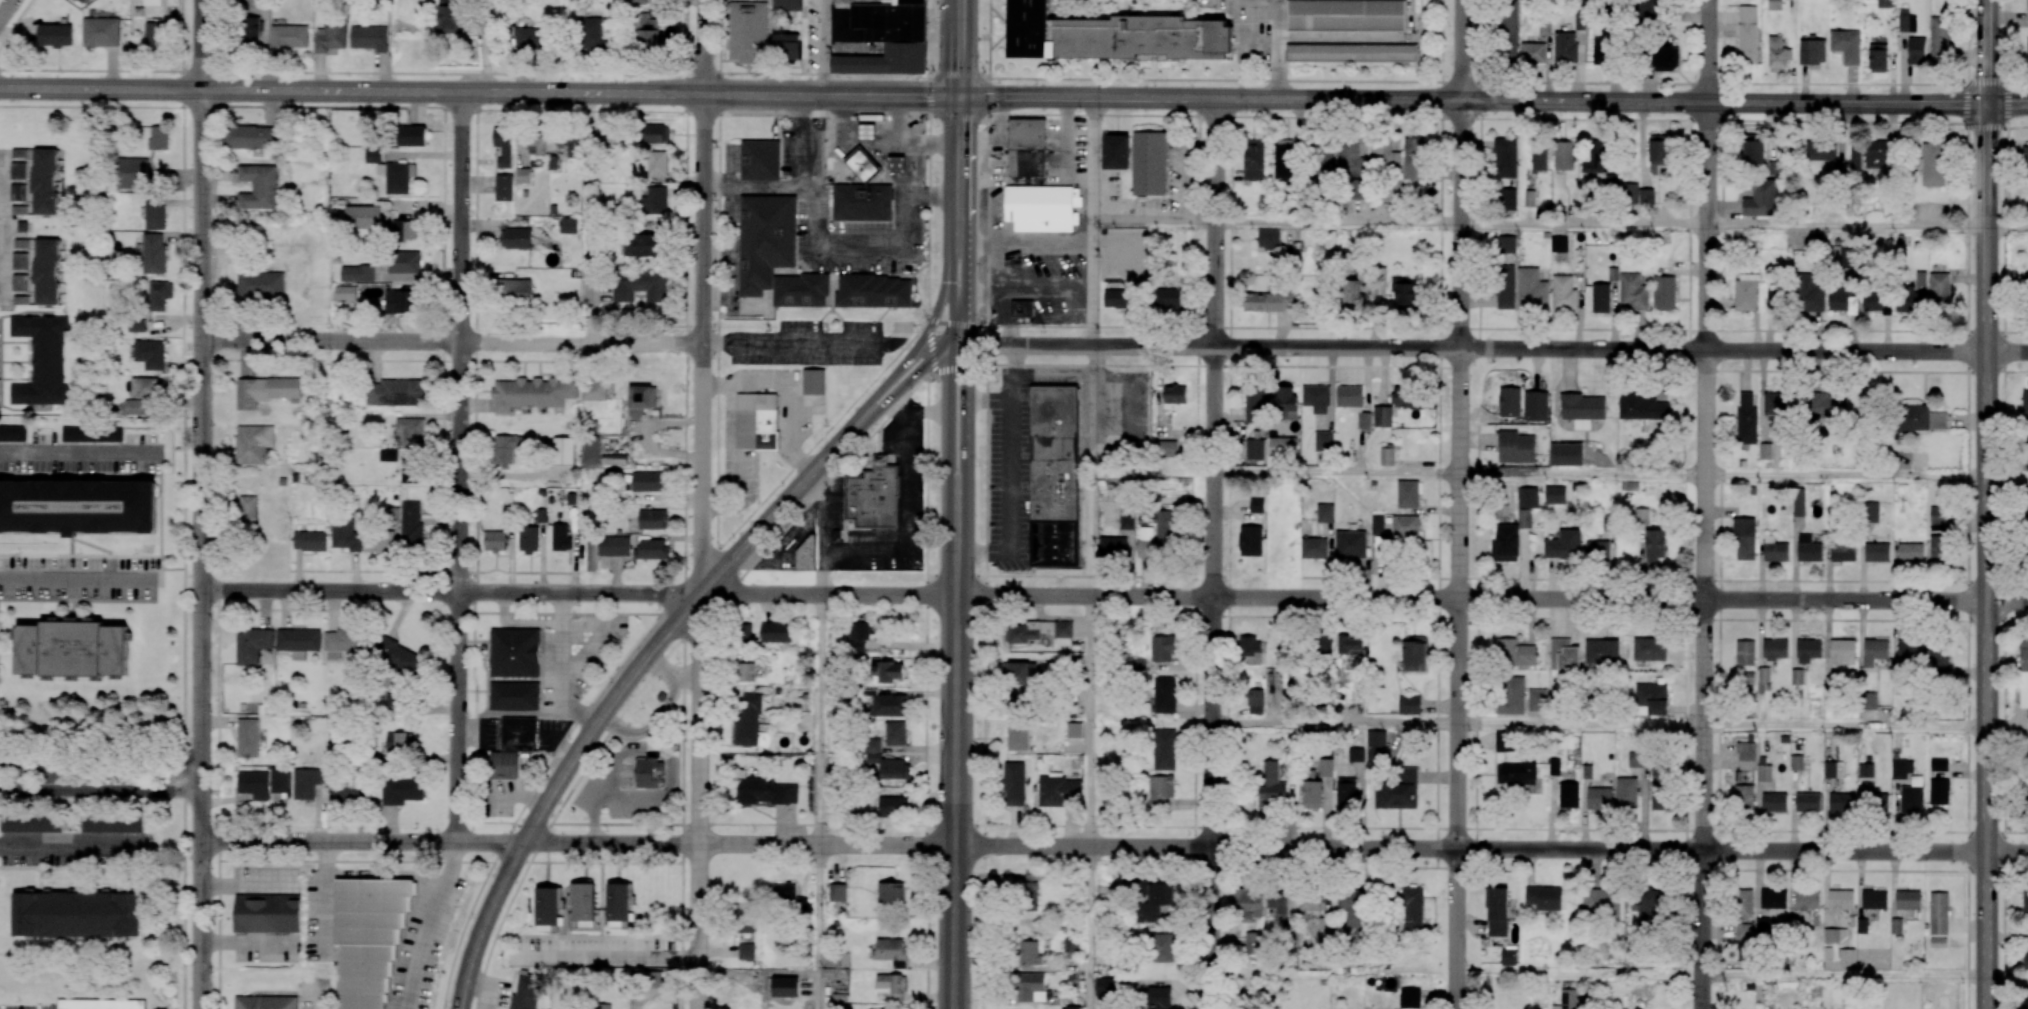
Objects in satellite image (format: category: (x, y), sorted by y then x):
building: (82, 1)
building: (638, 1)
building: (152, 2)
building: (1884, 3)
building: (787, 5)
building: (1775, 5)
building: (1649, 8)
road: (6, 9)
road: (1141, 9)
building: (2027, 11)
road: (1691, 14)
building: (1346, 15)
building: (449, 19)
building: (1906, 21)
building: (1579, 24)
building: (250, 30)
building: (101, 31)
building: (747, 31)
building: (154, 32)
building: (648, 32)
building: (590, 33)
building: (1507, 34)
building: (1747, 34)
building: (55, 35)
building: (1113, 35)
building: (288, 37)
building: (331, 37)
building: (369, 37)
building: (532, 37)
building: (888, 38)
building: (1941, 38)
road: (199, 44)
road: (704, 46)
building: (787, 46)
road: (825, 46)
building: (1846, 46)
road: (959, 47)
building: (1564, 47)
road: (1279, 49)
building: (2027, 49)
building: (1601, 50)
building: (1812, 50)
building: (1916, 50)
road: (1986, 51)
building: (1351, 52)
building: (1532, 53)
building: (1777, 55)
building: (1664, 58)
building: (1878, 58)
road: (1013, 77)
street lamp: (2011, 81)
street lamp: (1966, 82)
road: (99, 89)
road: (578, 92)
traffic signals: (959, 95)
road: (1472, 101)
traffic signals: (1987, 104)
road: (2007, 104)
road: (1724, 112)
road: (1013, 114)
street lamp: (1968, 129)
street lamp: (2005, 132)
building: (656, 133)
building: (411, 135)
building: (158, 137)
building: (252, 137)
road: (797, 142)
building: (503, 145)
building: (570, 145)
building: (1026, 147)
building: (1658, 147)
building: (1753, 151)
building: (1819, 151)
building: (1868, 151)
building: (19, 152)
building: (1116, 152)
building: (1384, 155)
building: (1563, 155)
building: (1596, 156)
building: (1505, 157)
building: (1414, 158)
road: (929, 159)
building: (1254, 159)
building: (1285, 159)
building: (1539, 159)
building: (759, 160)
building: (1350, 160)
building: (2025, 161)
building: (1321, 162)
building: (657, 163)
building: (1149, 163)
building: (862, 164)
building: (896, 164)
building: (1932, 164)
road: (959, 167)
building: (18, 170)
building: (392, 172)
building: (132, 173)
road: (1480, 174)
building: (523, 175)
building: (1610, 180)
building: (44, 181)
building: (258, 186)
building: (503, 187)
building: (1393, 188)
building: (18, 192)
building: (1628, 193)
building: (1646, 196)
building: (1529, 198)
building: (1505, 199)
building: (1760, 199)
building: (654, 201)
building: (862, 202)
building: (1039, 207)
building: (155, 214)
road: (1689, 216)
building: (363, 217)
road: (1156, 220)
road: (1097, 221)
road: (1461, 223)
building: (569, 225)
road: (1846, 226)
road: (2007, 228)
building: (403, 229)
building: (516, 238)
building: (1268, 238)
building: (1506, 244)
building: (642, 245)
road: (954, 249)
building: (153, 253)
building: (775, 253)
road: (829, 254)
building: (1845, 257)
building: (20, 260)
building: (404, 262)
road: (966, 265)
building: (46, 271)
building: (357, 273)
building: (1612, 274)
building: (1921, 278)
building: (2025, 281)
building: (20, 282)
building: (260, 284)
building: (639, 285)
building: (1505, 287)
building: (1532, 288)
building: (1939, 288)
building: (514, 289)
building: (874, 291)
building: (345, 292)
building: (1632, 292)
building: (1746, 292)
building: (1353, 293)
building: (1563, 293)
building: (1664, 293)
building: (1808, 293)
building: (159, 295)
building: (1405, 295)
building: (1167, 297)
building: (1838, 297)
building: (1119, 298)
building: (1600, 298)
building: (1776, 298)
building: (1908, 298)
road: (948, 300)
building: (399, 301)
building: (1268, 301)
building: (1877, 302)
building: (1853, 304)
road: (939, 305)
building: (1022, 308)
road: (966, 317)
road: (959, 318)
building: (136, 324)
road: (1476, 327)
road: (199, 339)
road: (450, 341)
traffic signals: (948, 341)
road: (957, 341)
traffic signals: (966, 341)
road: (789, 342)
road: (934, 342)
road: (701, 343)
road: (929, 345)
traffic signals: (922, 348)
road: (1496, 349)
road: (1721, 350)
building: (151, 354)
building: (42, 360)
road: (1867, 371)
building: (814, 381)
building: (144, 387)
building: (266, 390)
building: (594, 390)
building: (394, 392)
building: (531, 393)
building: (1175, 394)
building: (1407, 397)
building: (1316, 398)
building: (641, 400)
building: (1509, 401)
building: (2025, 401)
building: (1254, 403)
building: (1287, 403)
building: (1353, 403)
building: (1535, 405)
building: (1827, 405)
building: (135, 406)
road: (880, 406)
building: (1776, 406)
building: (1641, 407)
road: (865, 408)
building: (1582, 409)
road: (917, 410)
road: (965, 415)
road: (948, 416)
building: (1382, 416)
building: (1918, 418)
building: (1747, 419)
building: (756, 421)
road: (1439, 424)
building: (410, 431)
building: (13, 433)
building: (91, 433)
building: (1323, 441)
building: (253, 443)
building: (1282, 446)
building: (1516, 447)
building: (1165, 448)
building: (504, 449)
building: (1254, 449)
building: (563, 450)
building: (590, 451)
building: (1765, 451)
road: (77, 452)
building: (388, 454)
building: (1567, 454)
building: (1387, 455)
building: (2025, 457)
building: (613, 460)
road: (458, 466)
building: (410, 468)
road: (841, 468)
road: (1460, 473)
road: (1846, 475)
building: (1053, 476)
building: (648, 481)
building: (1408, 494)
building: (1555, 495)
building: (872, 497)
building: (1528, 497)
building: (1798, 502)
road: (985, 504)
road: (1459, 504)
road: (1705, 504)
road: (1968, 504)
road: (2003, 504)
building: (1256, 505)
building: (77, 506)
road: (825, 508)
building: (247, 509)
building: (2027, 511)
building: (1870, 512)
building: (1325, 513)
building: (393, 515)
building: (1939, 515)
building: (1524, 518)
building: (652, 519)
building: (1127, 521)
building: (1607, 523)
building: (1377, 525)
building: (411, 526)
building: (1405, 526)
building: (346, 535)
building: (1161, 536)
building: (560, 537)
building: (528, 539)
building: (1744, 539)
building: (309, 540)
road: (900, 540)
building: (1250, 540)
building: (379, 541)
building: (495, 541)
building: (1505, 543)
building: (1350, 544)
building: (1655, 544)
building: (613, 545)
building: (1563, 545)
building: (1112, 547)
building: (1380, 547)
building: (1313, 548)
building: (1938, 548)
building: (652, 549)
building: (1808, 549)
building: (1599, 550)
building: (1774, 550)
building: (1843, 551)
building: (806, 552)
building: (1876, 552)
building: (1910, 552)
road: (1213, 553)
road: (1987, 556)
road: (81, 576)
road: (450, 591)
road: (1363, 598)
road: (580, 625)
building: (1038, 630)
building: (744, 631)
building: (776, 632)
building: (859, 635)
road: (641, 636)
building: (298, 641)
building: (342, 642)
building: (1323, 644)
building: (252, 645)
building: (1349, 645)
building: (1163, 648)
building: (72, 649)
building: (1650, 649)
building: (1775, 649)
building: (1251, 650)
building: (1808, 650)
building: (1602, 651)
building: (1841, 651)
building: (1875, 651)
building: (1910, 651)
building: (514, 652)
building: (1515, 652)
building: (1745, 652)
building: (1414, 653)
building: (1563, 655)
building: (398, 656)
building: (1938, 660)
building: (1139, 664)
building: (887, 670)
building: (745, 672)
building: (1021, 672)
road: (671, 673)
building: (2023, 675)
building: (1764, 676)
building: (1797, 676)
road: (926, 692)
building: (1165, 695)
building: (1511, 695)
building: (514, 696)
building: (1652, 697)
building: (1536, 700)
building: (1869, 700)
building: (1255, 701)
building: (1015, 704)
building: (1409, 704)
building: (889, 705)
road: (579, 711)
road: (600, 718)
building: (748, 719)
road: (822, 719)
road: (1090, 721)
road: (1458, 723)
road: (1717, 725)
road: (1845, 725)
building: (1073, 730)
building: (518, 733)
building: (895, 733)
building: (1017, 737)
building: (247, 738)
building: (1505, 740)
building: (399, 742)
road: (1685, 742)
building: (1376, 746)
road: (652, 748)
road: (955, 748)
building: (1164, 749)
building: (873, 750)
building: (1355, 754)
building: (1746, 755)
building: (2026, 758)
building: (1637, 759)
building: (1796, 762)
building: (1939, 764)
road: (100, 765)
building: (503, 765)
building: (1553, 766)
building: (1325, 767)
building: (894, 768)
building: (1829, 769)
building: (1900, 769)
building: (1865, 770)
building: (646, 773)
building: (1657, 773)
building: (1764, 773)
building: (1516, 774)
building: (1309, 775)
building: (279, 779)
road: (100, 783)
building: (306, 783)
building: (1014, 783)
building: (254, 784)
building: (1272, 786)
building: (401, 790)
building: (1057, 790)
road: (521, 791)
building: (766, 791)
building: (1161, 791)
building: (1398, 791)
building: (1939, 791)
building: (1346, 792)
building: (1626, 792)
building: (350, 793)
building: (1311, 794)
building: (1568, 794)
building: (1661, 796)
building: (1912, 796)
building: (1743, 797)
building: (1599, 798)
road: (200, 799)
road: (699, 801)
building: (1773, 802)
building: (1807, 802)
building: (1840, 802)
building: (1878, 802)
building: (2027, 803)
building: (893, 806)
building: (31, 823)
building: (111, 824)
building: (108, 836)
road: (361, 841)
road: (738, 844)
road: (1491, 849)
road: (79, 851)
road: (386, 873)
road: (248, 884)
building: (1029, 890)
building: (837, 892)
building: (891, 894)
building: (790, 896)
building: (1546, 897)
road: (324, 898)
building: (1772, 898)
building: (1152, 899)
building: (1807, 899)
building: (1874, 899)
building: (1908, 899)
building: (618, 900)
building: (1247, 900)
building: (1840, 900)
building: (2025, 900)
building: (1603, 901)
building: (1281, 902)
building: (1310, 902)
building: (1743, 903)
building: (583, 904)
building: (1646, 905)
building: (1351, 908)
building: (1412, 911)
building: (1497, 911)
building: (267, 913)
building: (1938, 913)
building: (77, 914)
building: (744, 918)
road: (429, 924)
building: (1862, 925)
road: (822, 926)
building: (1896, 926)
road: (1089, 927)
building: (1325, 929)
building: (1289, 930)
building: (1743, 931)
building: (1835, 935)
building: (368, 936)
building: (1253, 941)
building: (1938, 942)
road: (246, 944)
building: (1071, 945)
building: (1161, 947)
building: (746, 951)
building: (891, 951)
building: (1029, 953)
building: (2025, 955)
building: (1508, 956)
road: (607, 957)
building: (1847, 957)
road: (1844, 977)
building: (652, 979)
building: (784, 986)
building: (892, 986)
building: (1105, 986)
building: (1030, 987)
building: (526, 992)
building: (1409, 997)
building: (2025, 997)
building: (1159, 998)
building: (1567, 999)
building: (265, 1002)
building: (100, 1003)
building: (603, 1006)
building: (1072, 1007)

